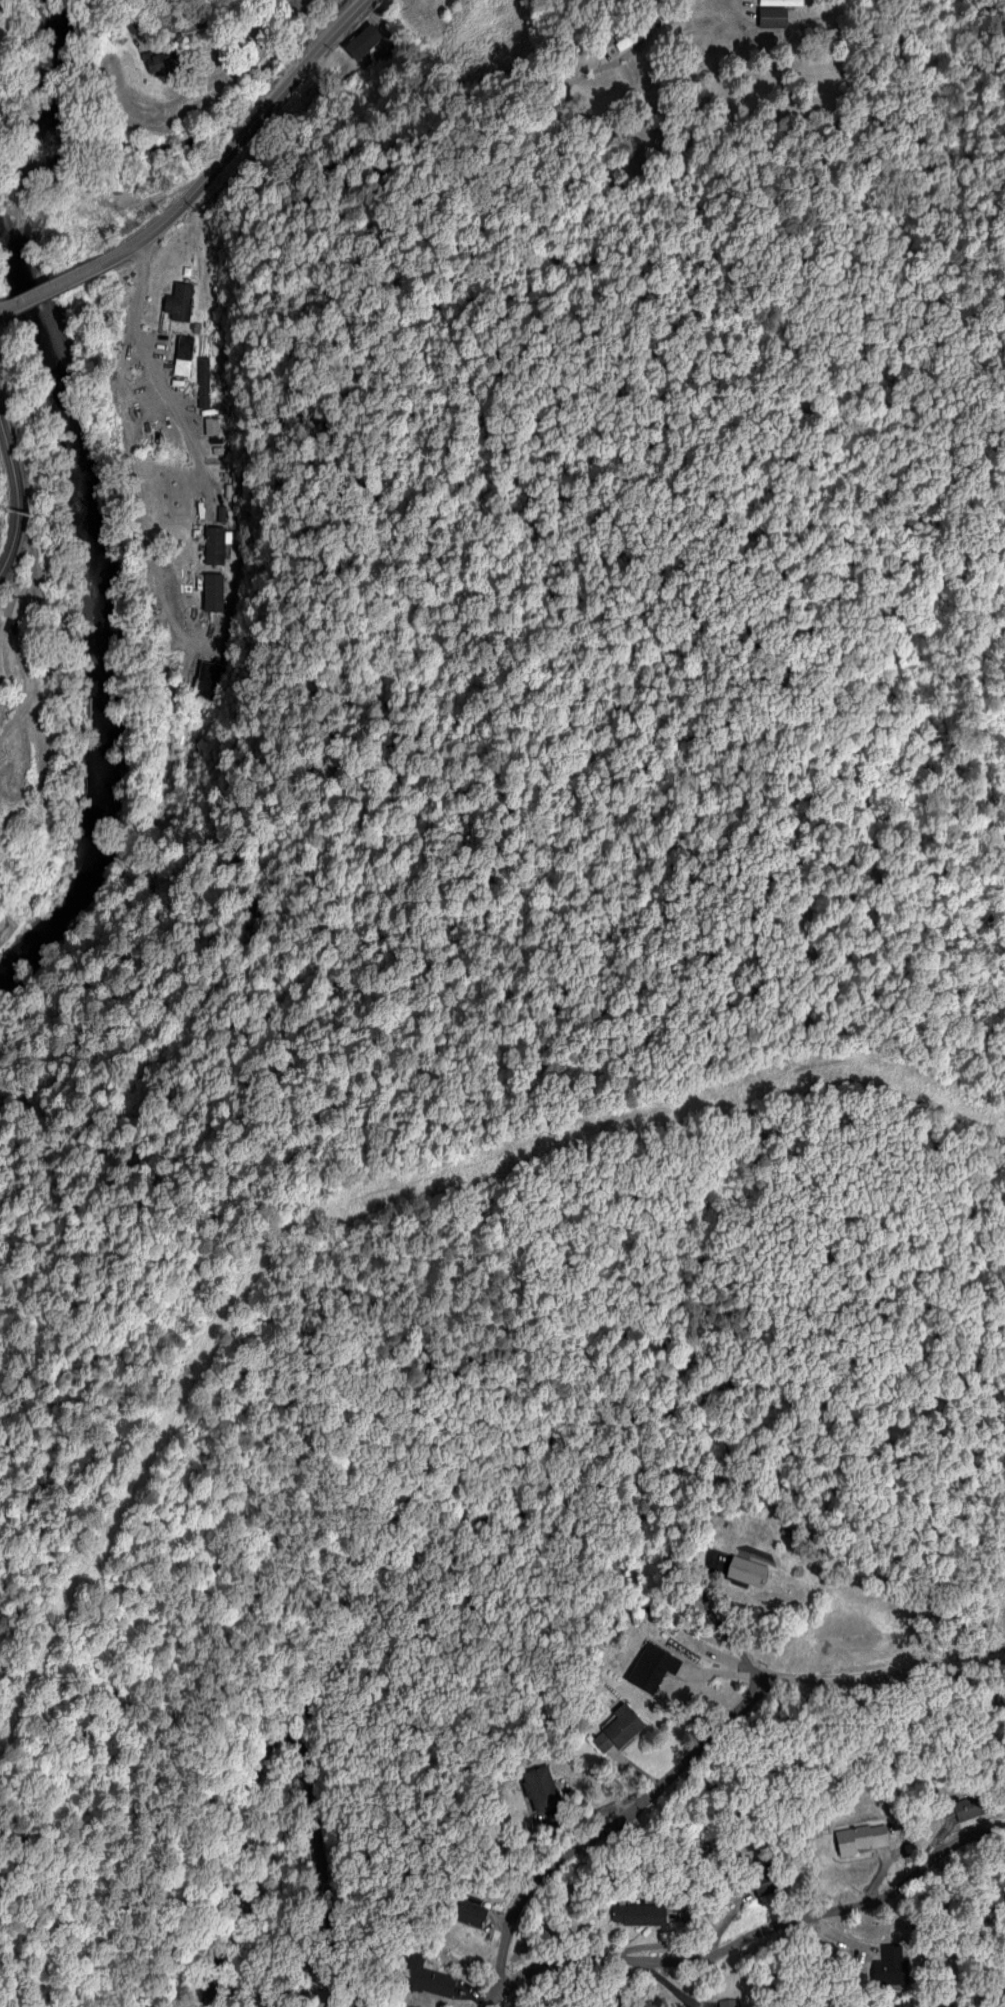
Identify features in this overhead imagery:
building: (781, 2)
building: (772, 16)
road: (313, 18)
road: (191, 28)
building: (628, 35)
road: (599, 43)
building: (159, 62)
road: (238, 136)
road: (51, 285)
building: (178, 301)
building: (182, 354)
road: (152, 379)
building: (203, 381)
building: (211, 425)
road: (16, 498)
building: (214, 545)
road: (26, 627)
building: (749, 1572)
road: (714, 1639)
building: (651, 1667)
road: (888, 1678)
road: (244, 1707)
building: (620, 1731)
building: (545, 1790)
building: (970, 1806)
road: (609, 1824)
building: (863, 1839)
building: (767, 1883)
building: (470, 1914)
building: (635, 1915)
road: (749, 1943)
building: (889, 1966)
building: (433, 1980)
building: (733, 2004)

